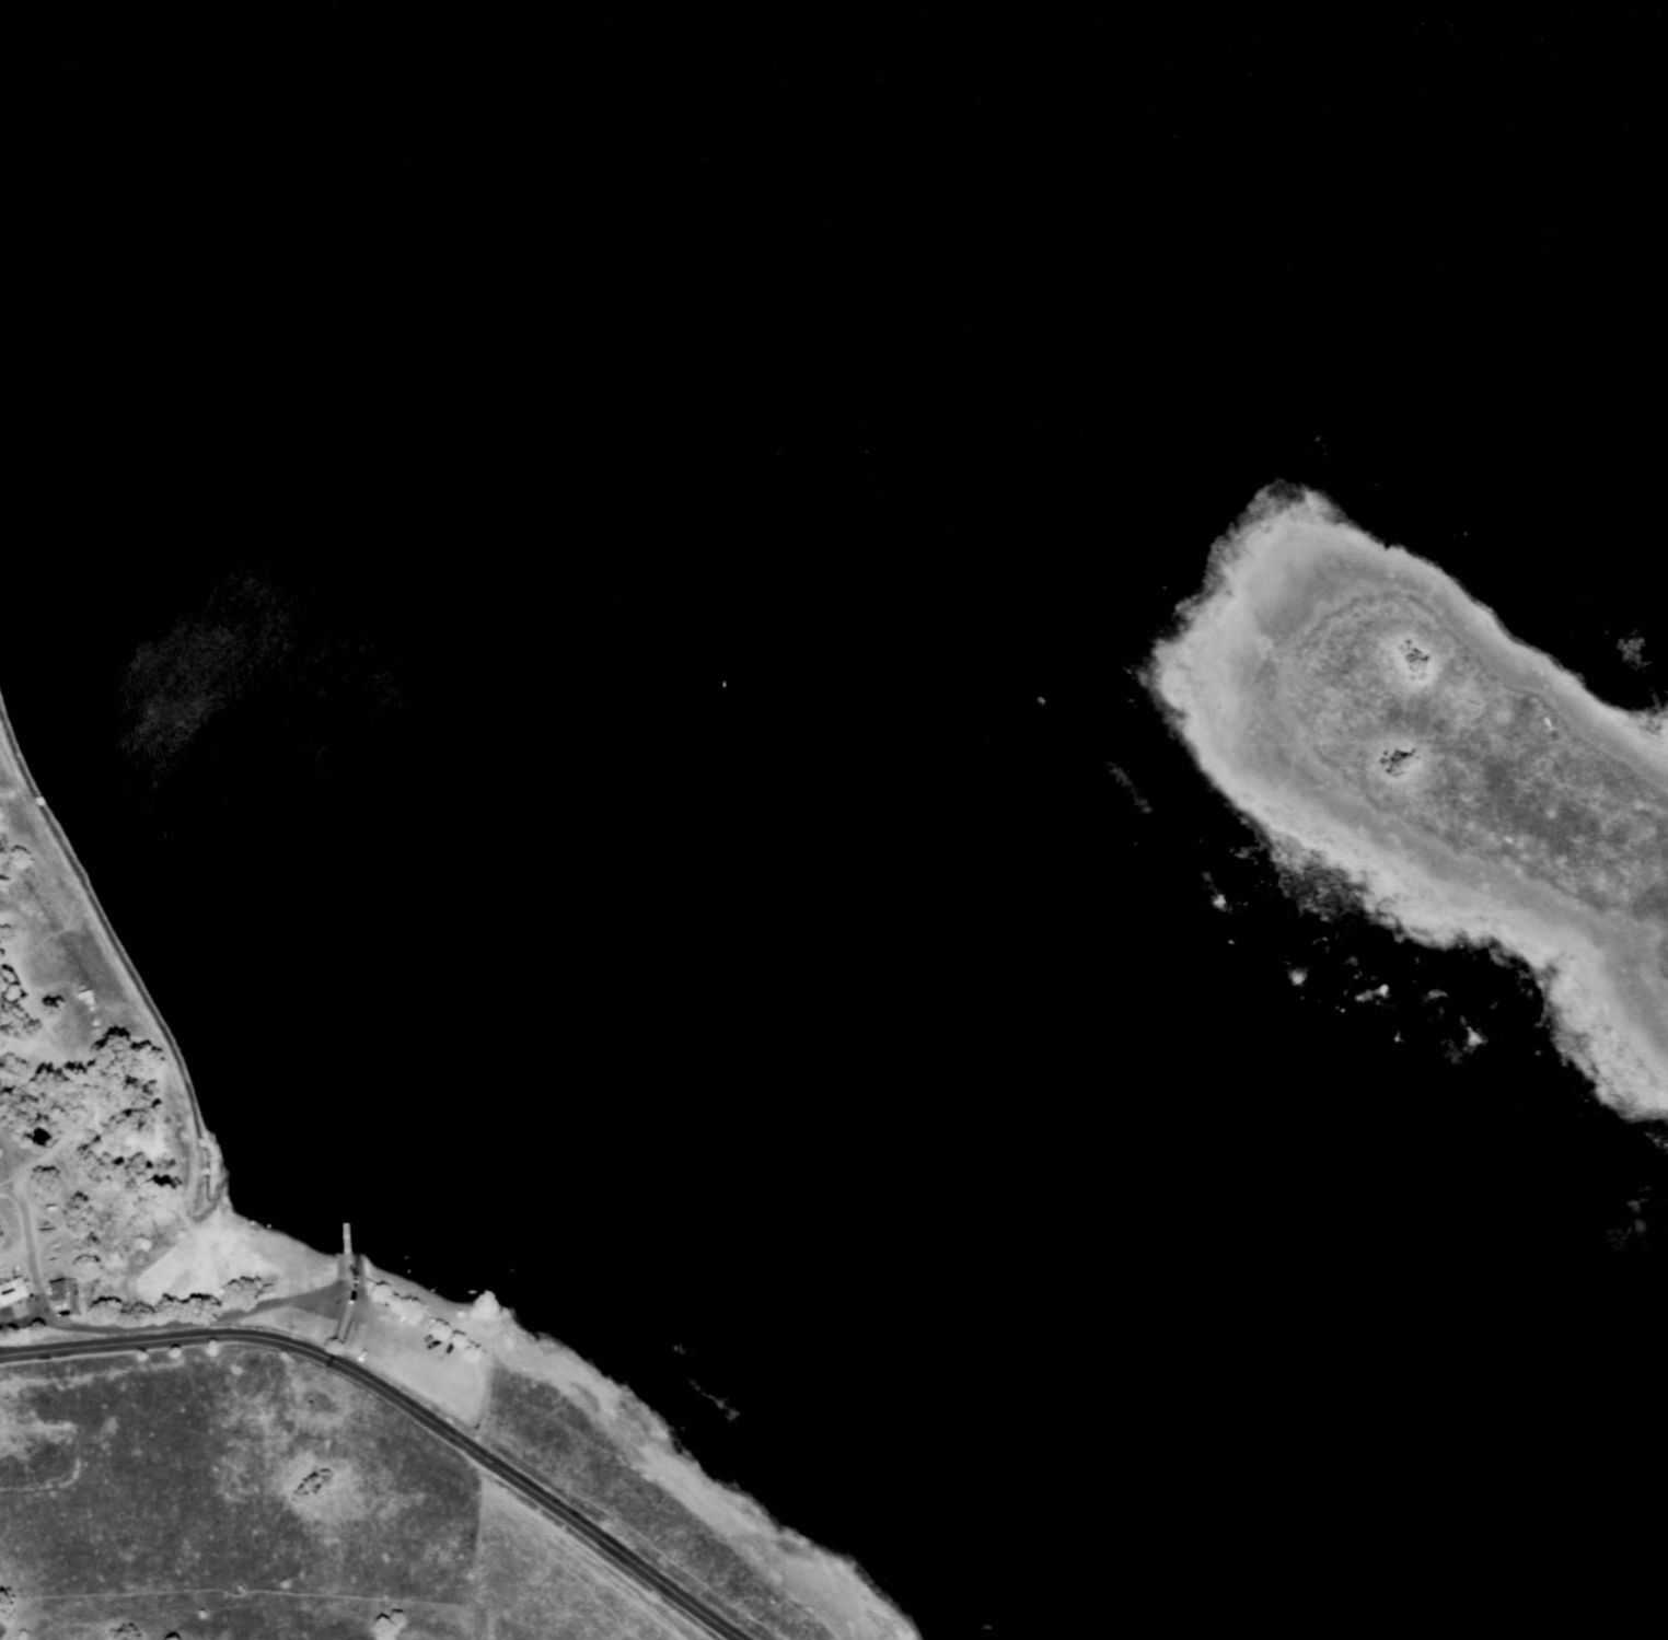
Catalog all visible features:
dam: (155, 1017)
road: (85, 1080)
building: (56, 1286)
road: (354, 1286)
building: (11, 1290)
road: (25, 1318)
road: (178, 1326)
road: (402, 1399)

